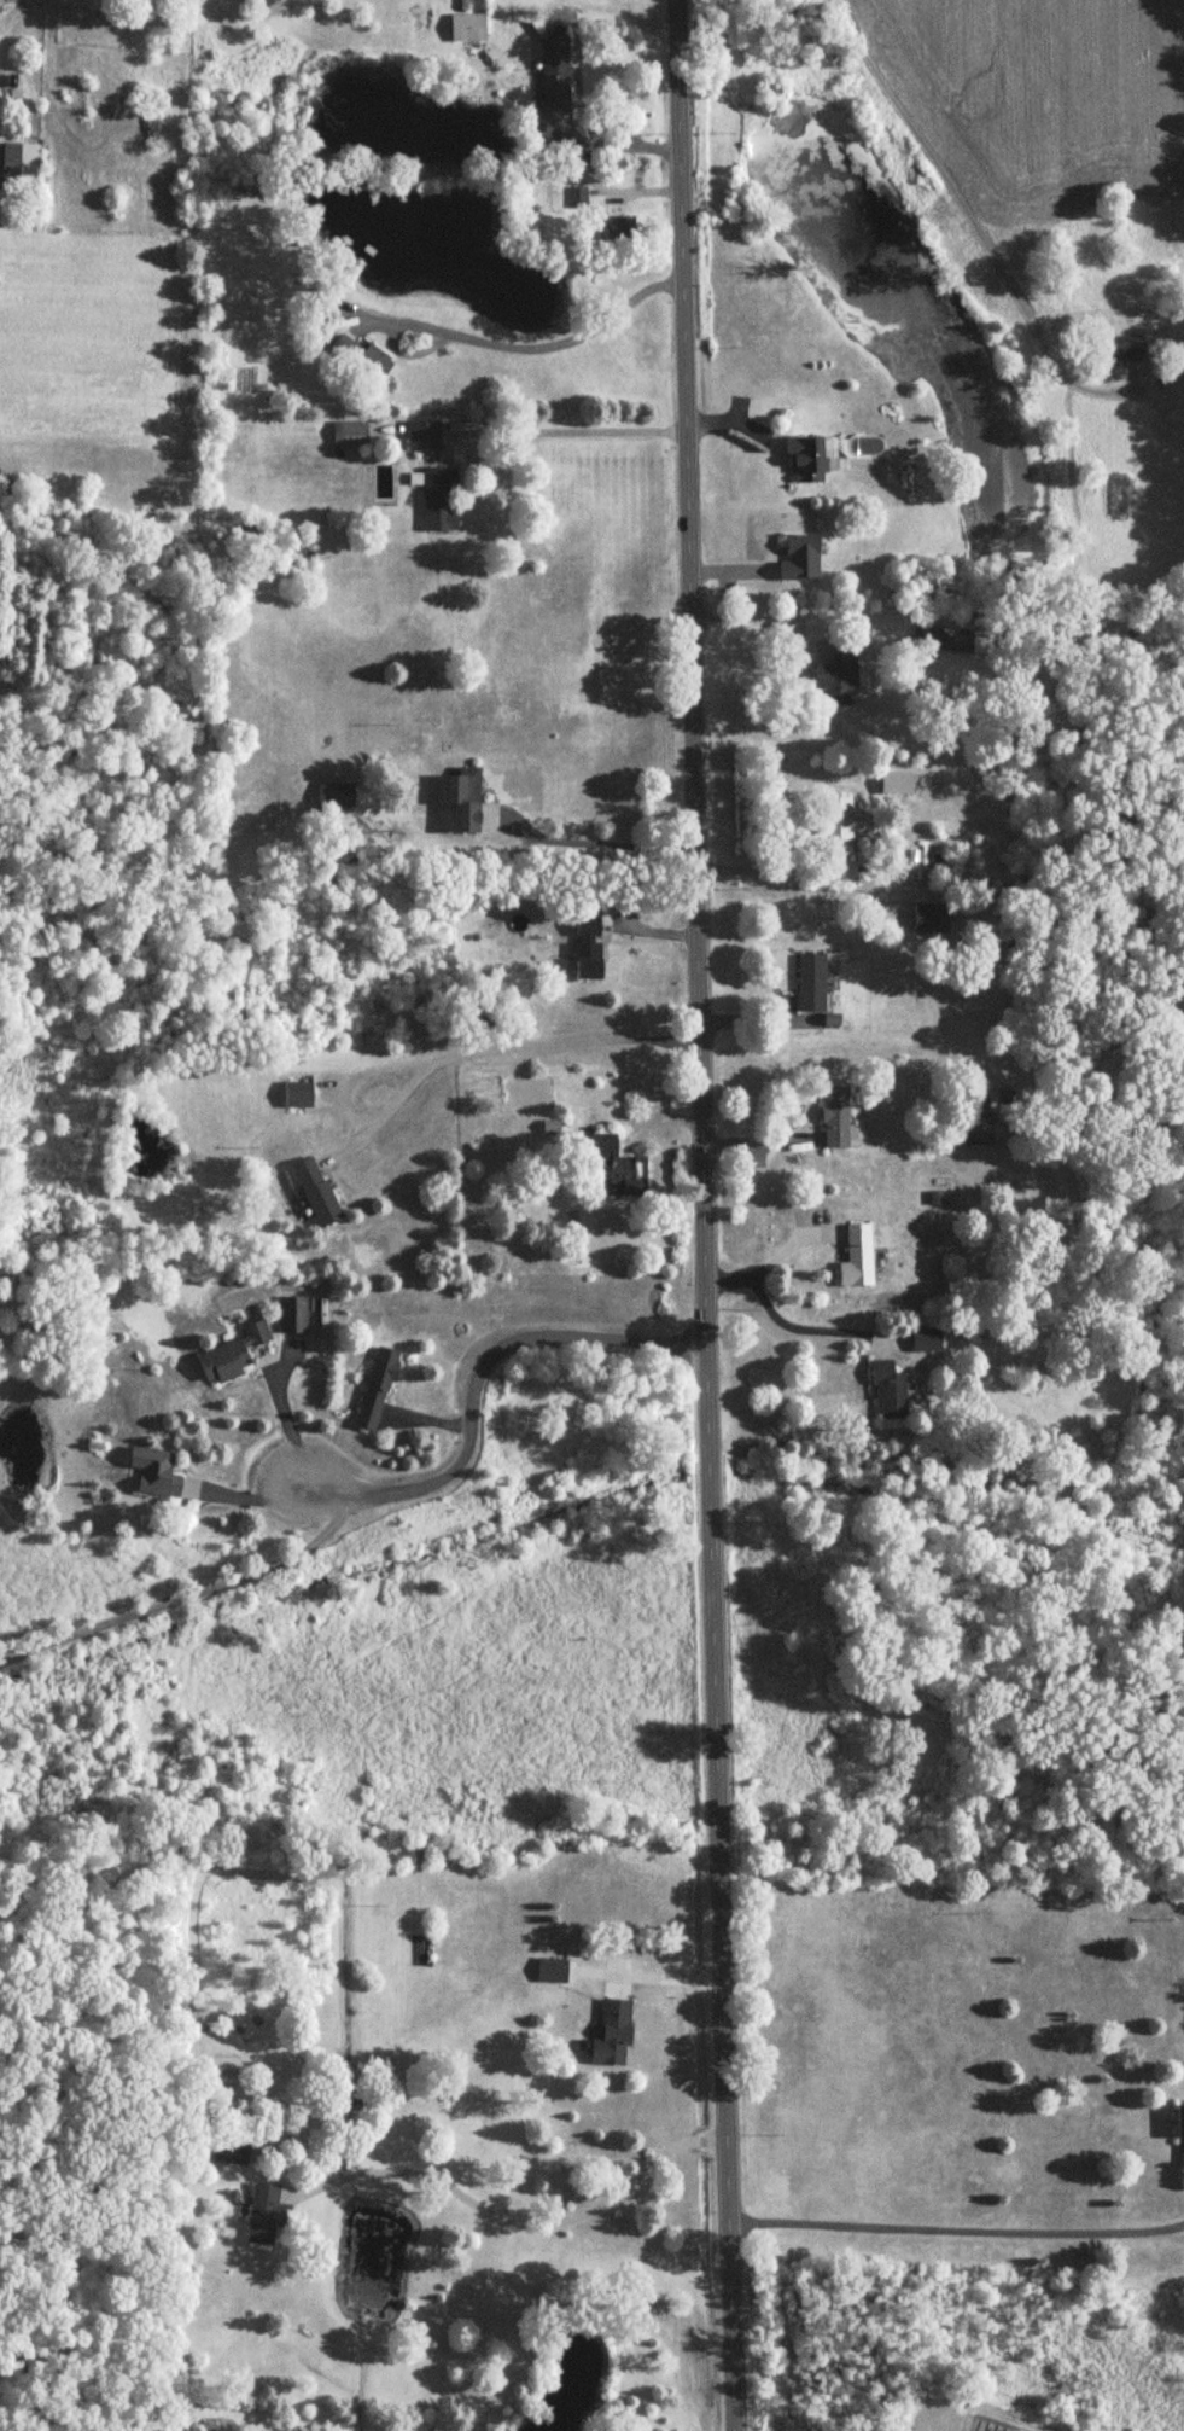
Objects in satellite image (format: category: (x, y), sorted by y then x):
building: (261, 4)
building: (466, 29)
building: (554, 74)
building: (19, 169)
building: (576, 200)
road: (975, 222)
building: (613, 231)
road: (520, 349)
building: (1120, 351)
building: (360, 357)
road: (564, 431)
building: (349, 435)
building: (422, 437)
building: (805, 463)
building: (438, 501)
building: (799, 560)
building: (945, 642)
building: (836, 679)
building: (336, 801)
building: (465, 802)
building: (841, 828)
road: (593, 839)
building: (931, 919)
building: (588, 948)
building: (811, 985)
road: (506, 1046)
building: (298, 1097)
building: (834, 1119)
building: (862, 1129)
building: (978, 1130)
building: (619, 1173)
building: (316, 1194)
road: (699, 1215)
building: (856, 1257)
building: (292, 1318)
road: (776, 1319)
building: (926, 1340)
building: (232, 1356)
road: (473, 1379)
building: (377, 1391)
building: (888, 1394)
road: (290, 1421)
building: (152, 1475)
road: (205, 1592)
building: (552, 1972)
road: (648, 1978)
building: (613, 2036)
building: (222, 2072)
building: (1180, 2124)
building: (231, 2151)
building: (266, 2216)
road: (514, 2216)
road: (952, 2222)
building: (216, 2426)

